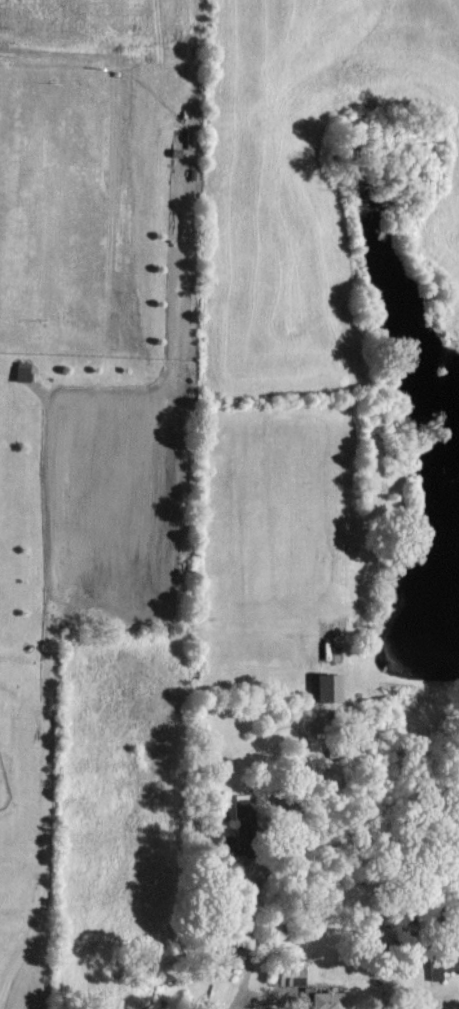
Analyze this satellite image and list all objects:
park: (94, 139)
park: (6, 143)
park: (127, 302)
park: (75, 303)
building: (20, 371)
park: (84, 382)
building: (327, 686)
park: (8, 738)
road: (44, 817)
building: (442, 964)
building: (286, 975)
road: (243, 982)
building: (325, 1000)

